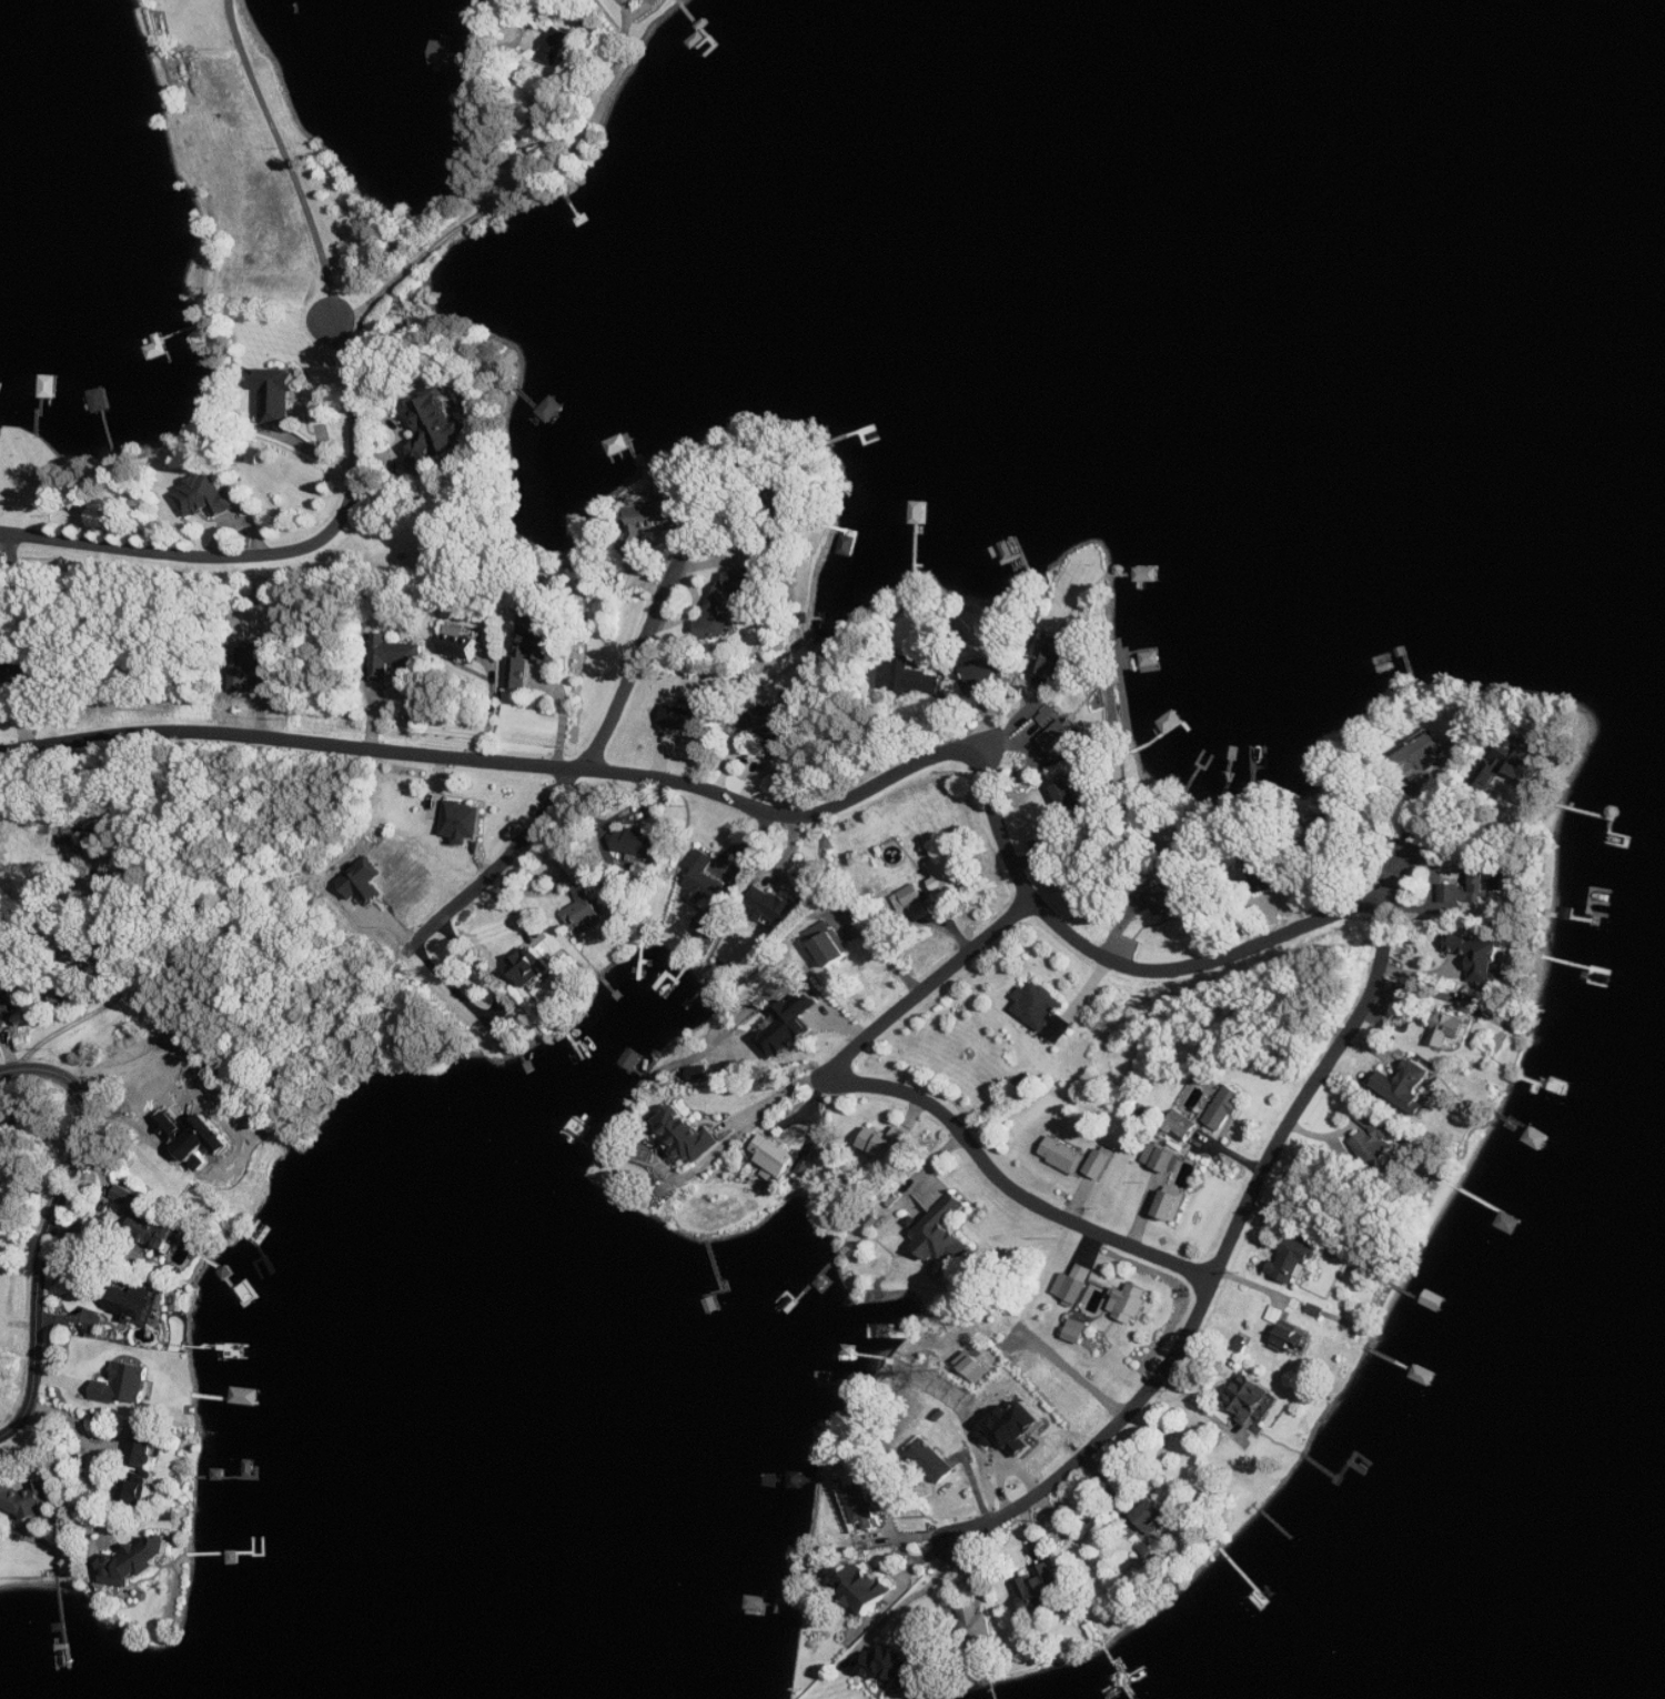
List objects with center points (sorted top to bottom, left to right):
building: (558, 46)
road: (283, 162)
road: (463, 218)
building: (0, 385)
building: (437, 424)
building: (657, 519)
road: (277, 564)
building: (13, 587)
building: (722, 600)
building: (464, 642)
building: (537, 653)
building: (397, 656)
building: (1052, 657)
building: (256, 666)
building: (916, 677)
building: (985, 680)
building: (21, 682)
building: (687, 716)
building: (1052, 717)
building: (770, 722)
road: (1013, 723)
building: (1064, 740)
building: (1465, 741)
building: (1422, 756)
building: (1512, 765)
road: (583, 774)
building: (1076, 797)
building: (466, 822)
road: (1442, 836)
building: (640, 845)
road: (1406, 845)
building: (706, 876)
building: (947, 877)
building: (365, 881)
building: (1477, 888)
building: (1175, 899)
building: (914, 902)
road: (1038, 905)
building: (774, 908)
building: (586, 911)
building: (828, 942)
building: (1483, 956)
building: (532, 965)
building: (7, 1003)
road: (495, 1009)
building: (1045, 1011)
road: (88, 1014)
building: (789, 1024)
building: (1453, 1028)
building: (1410, 1086)
road: (783, 1094)
road: (919, 1097)
building: (1227, 1107)
building: (1183, 1127)
building: (689, 1134)
building: (886, 1142)
building: (209, 1144)
building: (1066, 1155)
building: (1162, 1157)
building: (776, 1158)
building: (1101, 1164)
building: (1173, 1204)
road: (49, 1224)
building: (946, 1233)
building: (1295, 1260)
building: (1130, 1303)
building: (139, 1304)
building: (1078, 1330)
building: (1294, 1339)
building: (975, 1366)
building: (127, 1384)
building: (248, 1396)
building: (1250, 1397)
building: (1017, 1428)
building: (148, 1450)
building: (932, 1459)
road: (70, 1478)
building: (135, 1491)
building: (26, 1499)
building: (862, 1508)
building: (1154, 1516)
building: (138, 1562)
building: (867, 1588)
building: (1042, 1588)
building: (890, 1667)

